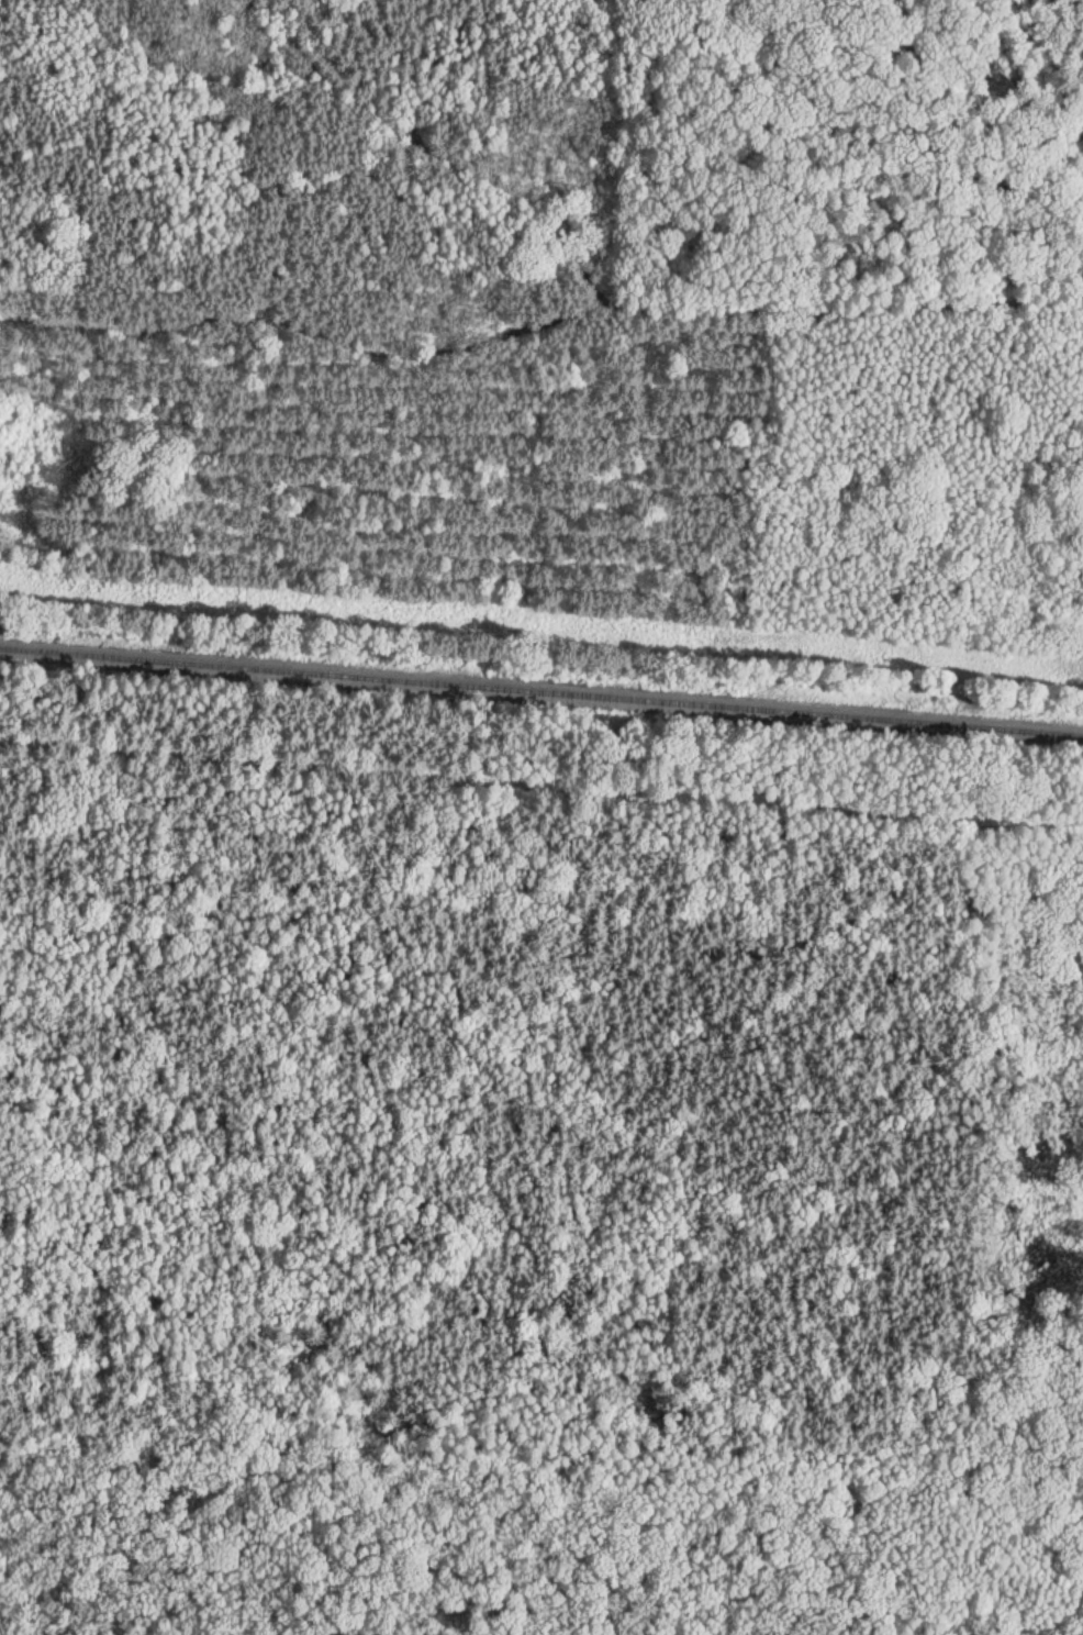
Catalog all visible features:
road: (429, 153)
road: (541, 304)
railway: (541, 689)
road: (897, 816)

